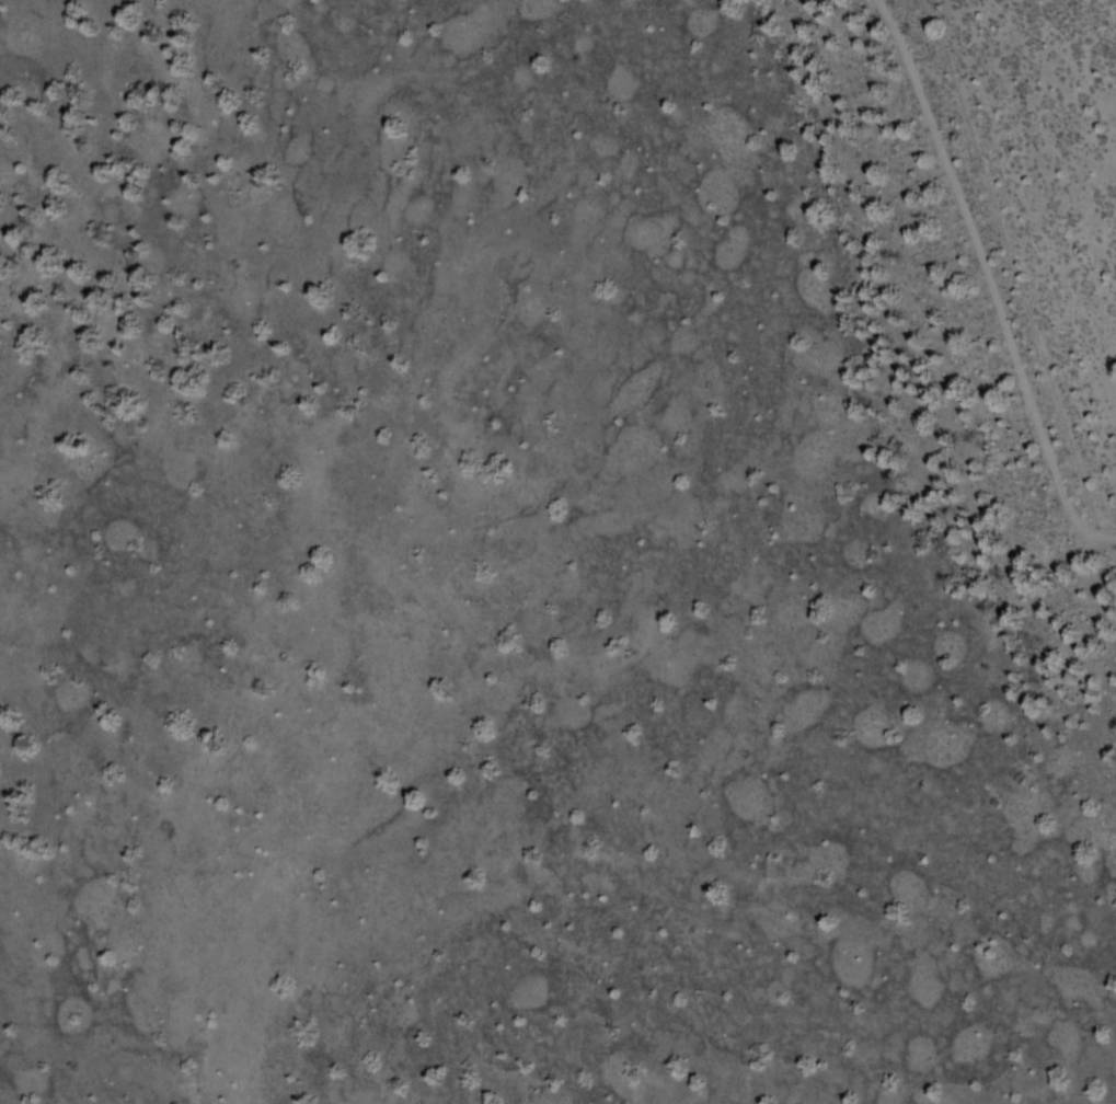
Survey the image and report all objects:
road: (988, 279)

